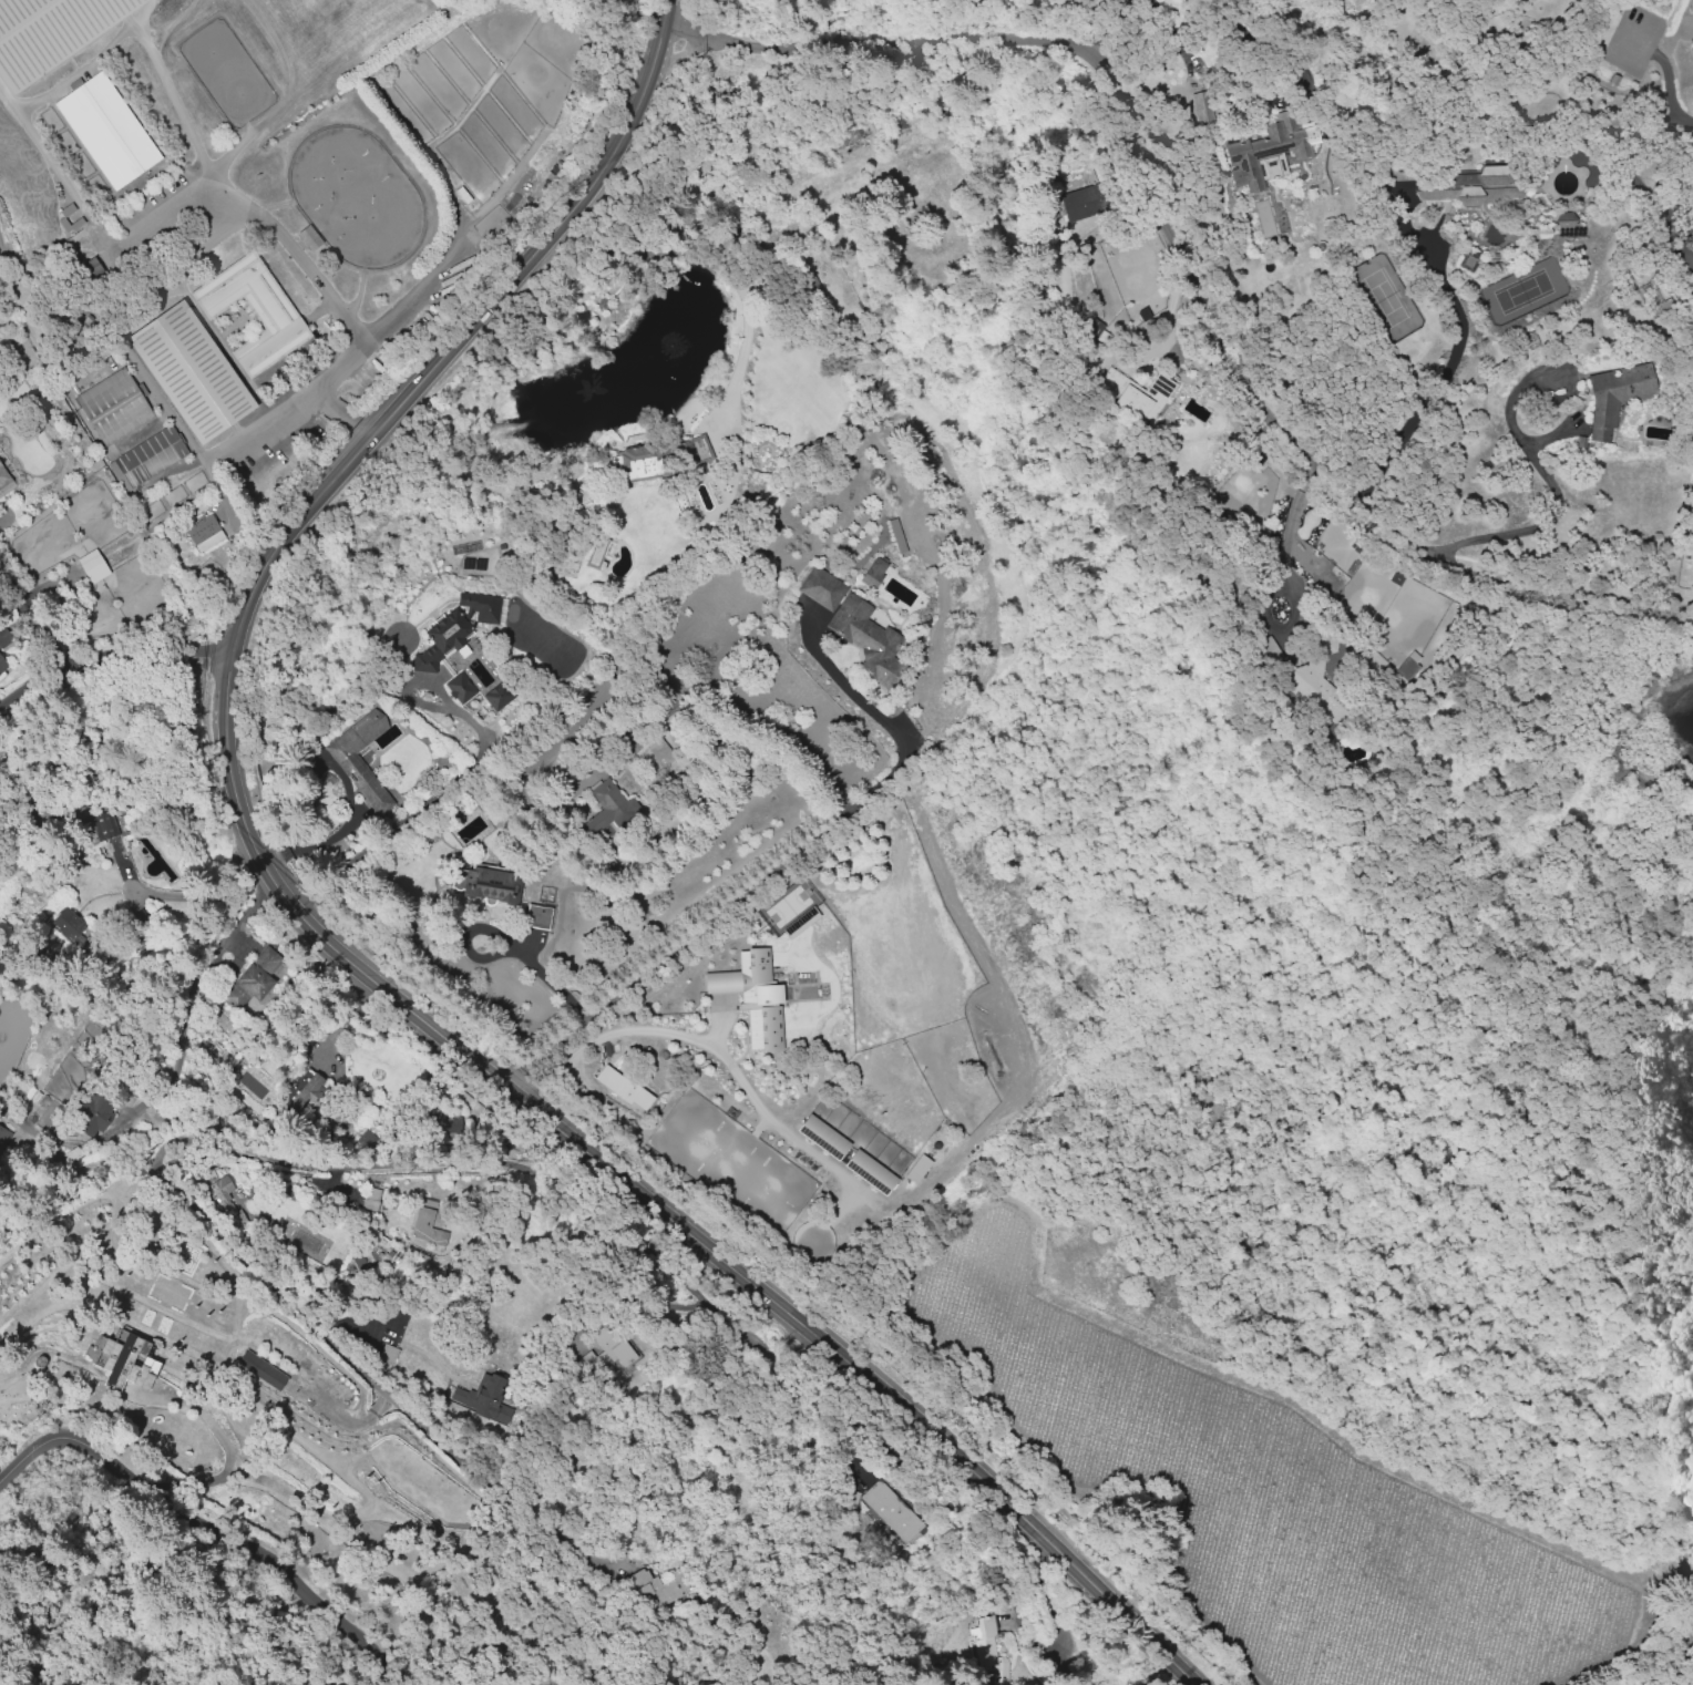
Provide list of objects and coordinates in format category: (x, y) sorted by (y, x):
building: (48, 32)
park: (48, 32)
building: (1520, 66)
park: (226, 71)
road: (1666, 83)
building: (1207, 112)
building: (106, 129)
building: (1273, 148)
building: (1402, 176)
building: (1474, 187)
park: (355, 194)
road: (170, 199)
building: (1081, 202)
building: (68, 218)
building: (1564, 224)
building: (1541, 234)
building: (309, 237)
building: (1519, 254)
road: (1187, 255)
building: (1469, 264)
building: (1511, 267)
building: (1498, 268)
building: (90, 275)
building: (809, 286)
building: (1652, 298)
building: (1692, 304)
building: (254, 308)
building: (191, 369)
park: (191, 369)
road: (1440, 380)
building: (1133, 393)
building: (1618, 398)
road: (294, 403)
building: (113, 405)
road: (342, 412)
road: (1520, 440)
building: (1582, 442)
building: (692, 451)
building: (152, 455)
building: (637, 465)
building: (4, 477)
building: (203, 530)
road: (1286, 543)
building: (94, 566)
building: (872, 572)
road: (42, 588)
building: (821, 588)
building: (480, 606)
road: (35, 624)
building: (865, 637)
building: (4, 639)
building: (440, 640)
road: (146, 645)
building: (1265, 650)
building: (3, 662)
building: (459, 687)
road: (33, 690)
road: (849, 690)
building: (660, 752)
building: (360, 759)
road: (461, 777)
building: (607, 811)
building: (103, 824)
building: (492, 883)
road: (196, 893)
building: (536, 916)
road: (701, 922)
building: (66, 924)
road: (339, 943)
road: (507, 943)
building: (254, 979)
building: (752, 996)
road: (728, 1061)
road: (546, 1081)
building: (305, 1093)
building: (90, 1116)
building: (822, 1136)
building: (3, 1137)
building: (916, 1168)
building: (870, 1171)
building: (225, 1199)
building: (370, 1199)
building: (427, 1227)
road: (730, 1329)
building: (605, 1350)
building: (387, 1354)
building: (123, 1358)
building: (261, 1369)
building: (482, 1397)
road: (220, 1441)
crop: (1242, 1493)
building: (891, 1510)
road: (207, 1525)
building: (656, 1589)
building: (992, 1651)

